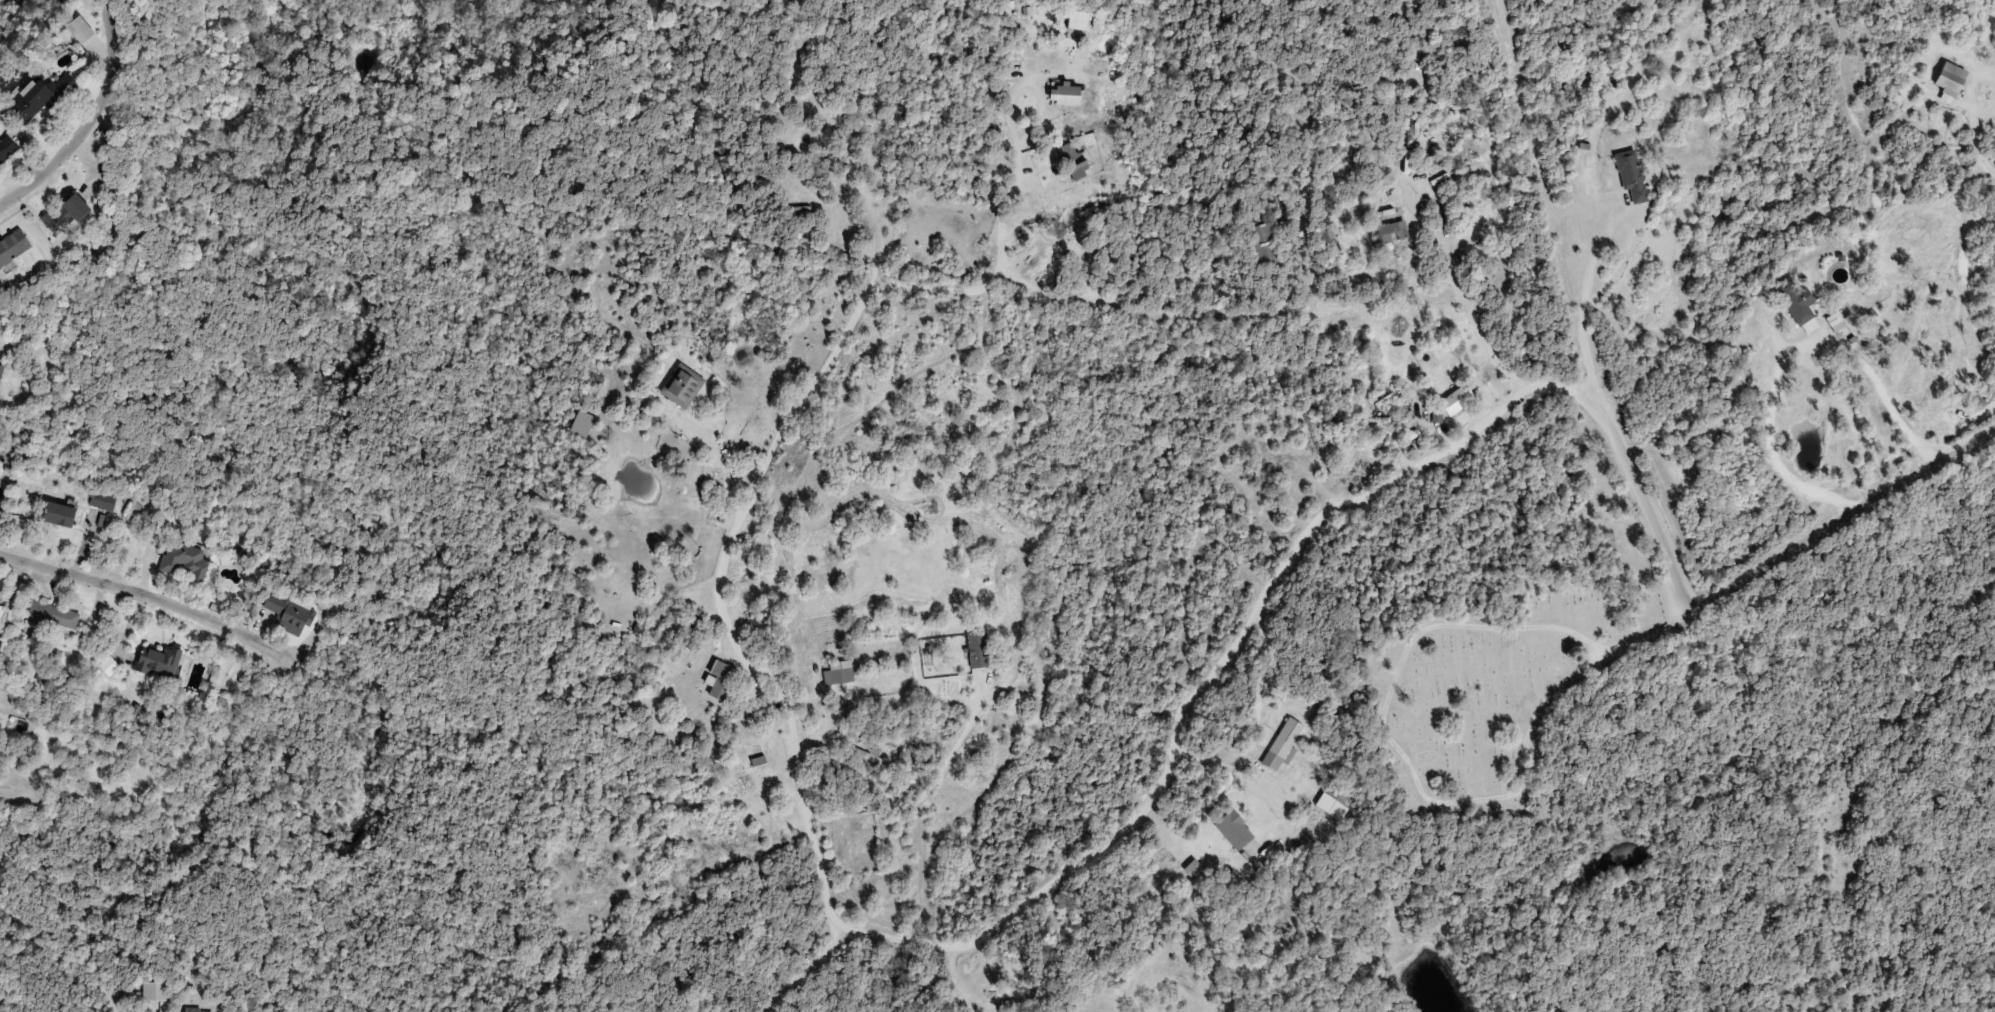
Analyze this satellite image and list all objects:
building: (1079, 23)
building: (81, 29)
building: (1950, 81)
building: (1068, 94)
building: (41, 98)
road: (86, 117)
building: (842, 142)
building: (1465, 144)
building: (7, 149)
building: (1075, 160)
building: (1631, 173)
road: (1084, 187)
building: (802, 211)
building: (66, 214)
building: (1392, 232)
road: (1174, 239)
building: (1267, 243)
road: (947, 244)
building: (13, 247)
road: (1573, 291)
building: (1797, 303)
road: (1197, 311)
building: (0, 371)
building: (682, 385)
building: (1456, 401)
building: (582, 424)
building: (1696, 469)
building: (103, 501)
building: (59, 514)
building: (184, 560)
road: (745, 580)
road: (147, 584)
road: (1741, 586)
building: (1, 613)
road: (739, 613)
building: (288, 615)
building: (51, 617)
park: (1507, 643)
building: (979, 650)
building: (159, 662)
building: (839, 673)
building: (721, 680)
road: (746, 695)
building: (1284, 743)
road: (13, 791)
building: (1333, 803)
building: (1235, 830)
road: (1109, 842)
building: (1194, 869)
building: (156, 993)
building: (1004, 1001)
building: (198, 1009)

